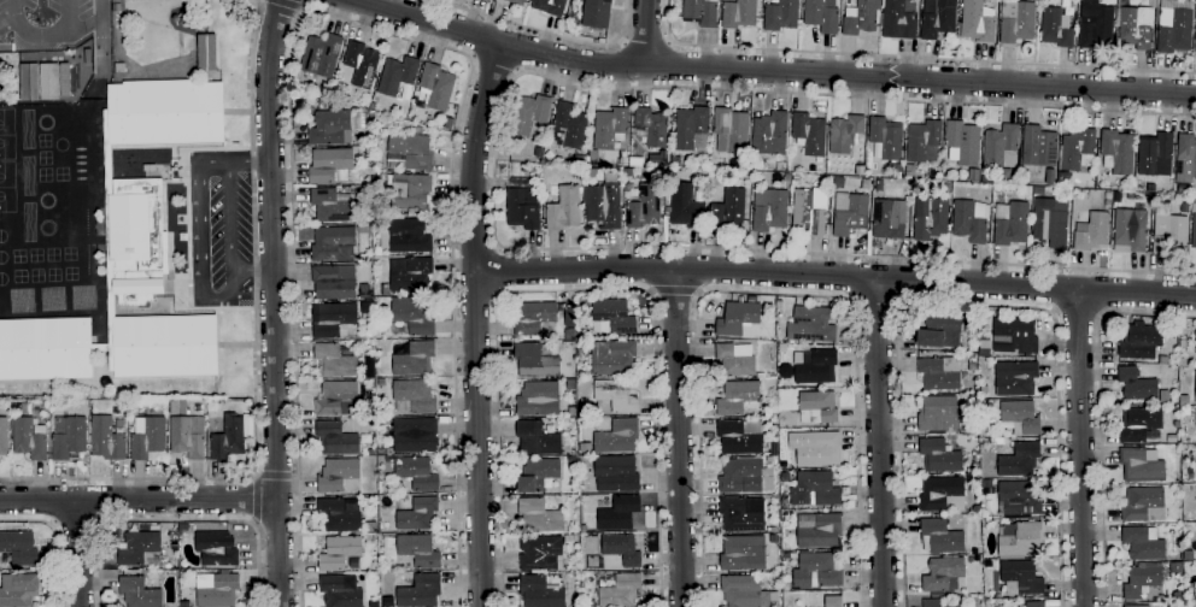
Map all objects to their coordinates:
building: (1032, 0)
building: (517, 1)
road: (304, 2)
road: (285, 4)
building: (1151, 4)
road: (304, 6)
building: (551, 6)
road: (300, 7)
building: (700, 12)
building: (597, 13)
building: (738, 14)
building: (780, 16)
building: (821, 16)
building: (862, 18)
building: (937, 18)
parking lot: (46, 19)
building: (898, 19)
building: (978, 22)
building: (1015, 22)
road: (360, 24)
building: (1095, 24)
building: (1135, 26)
building: (1174, 26)
building: (1055, 29)
road: (647, 31)
road: (545, 33)
road: (42, 36)
road: (645, 41)
building: (1195, 47)
building: (206, 53)
building: (321, 55)
road: (911, 58)
building: (360, 64)
road: (493, 65)
building: (119, 69)
road: (770, 71)
building: (398, 75)
building: (48, 81)
building: (29, 82)
building: (436, 87)
building: (530, 116)
building: (448, 123)
building: (569, 126)
building: (652, 126)
building: (690, 126)
building: (330, 128)
building: (610, 128)
building: (732, 129)
building: (770, 134)
building: (809, 134)
building: (844, 134)
park: (6, 135)
building: (886, 137)
building: (924, 142)
building: (963, 142)
building: (1001, 147)
park: (45, 148)
building: (1037, 149)
building: (1077, 151)
building: (409, 152)
building: (1116, 152)
building: (1153, 153)
building: (593, 158)
building: (1185, 159)
building: (580, 160)
building: (675, 160)
building: (741, 161)
building: (330, 166)
building: (148, 167)
road: (493, 167)
building: (820, 170)
building: (910, 170)
building: (627, 173)
building: (974, 176)
building: (1050, 177)
building: (787, 178)
building: (796, 178)
building: (1062, 178)
building: (879, 185)
park: (7, 188)
building: (1150, 188)
building: (410, 191)
building: (1118, 196)
building: (1107, 204)
building: (603, 205)
building: (641, 205)
building: (333, 206)
building: (685, 207)
building: (523, 208)
building: (564, 210)
building: (769, 211)
building: (809, 211)
building: (729, 212)
road: (228, 217)
building: (851, 217)
road: (198, 218)
building: (889, 218)
building: (969, 220)
building: (931, 222)
building: (1050, 222)
building: (1010, 223)
building: (364, 229)
building: (1130, 229)
building: (1194, 231)
building: (1091, 232)
building: (1169, 235)
building: (409, 236)
parking lot: (229, 237)
building: (334, 244)
building: (130, 254)
building: (369, 259)
road: (251, 270)
road: (498, 271)
building: (410, 275)
road: (836, 276)
building: (332, 284)
building: (382, 290)
road: (575, 290)
building: (364, 291)
road: (674, 291)
road: (772, 293)
road: (274, 302)
road: (874, 302)
road: (971, 305)
building: (367, 308)
road: (1077, 314)
building: (569, 317)
building: (738, 317)
building: (414, 318)
building: (611, 318)
building: (534, 319)
building: (333, 320)
road: (475, 324)
building: (810, 325)
building: (940, 331)
building: (569, 334)
building: (1014, 336)
building: (1195, 337)
building: (1141, 341)
building: (1182, 343)
building: (347, 350)
building: (579, 353)
building: (984, 353)
building: (612, 358)
building: (415, 359)
building: (535, 360)
building: (735, 360)
road: (256, 361)
building: (1182, 361)
building: (334, 363)
building: (972, 364)
building: (816, 367)
building: (371, 370)
building: (939, 373)
building: (760, 376)
building: (1015, 378)
building: (380, 382)
building: (570, 385)
building: (1136, 385)
building: (1195, 390)
building: (616, 395)
building: (414, 396)
building: (538, 399)
building: (738, 399)
building: (338, 400)
building: (817, 407)
building: (24, 408)
building: (178, 408)
building: (135, 409)
building: (157, 412)
building: (938, 414)
road: (1100, 414)
building: (1195, 416)
building: (1020, 417)
building: (582, 419)
building: (1139, 424)
building: (975, 431)
building: (981, 431)
building: (4, 436)
building: (188, 436)
building: (415, 436)
road: (678, 436)
building: (617, 437)
building: (29, 438)
building: (68, 438)
building: (230, 438)
building: (336, 438)
building: (538, 438)
building: (738, 438)
building: (106, 440)
building: (148, 440)
road: (878, 442)
road: (1080, 447)
building: (815, 448)
building: (382, 452)
building: (939, 456)
building: (1019, 460)
building: (1141, 466)
building: (975, 468)
road: (253, 473)
building: (416, 473)
road: (294, 475)
building: (336, 475)
building: (538, 475)
building: (616, 475)
road: (272, 476)
building: (740, 476)
building: (785, 477)
building: (972, 478)
building: (986, 483)
building: (768, 484)
building: (814, 490)
building: (1179, 490)
building: (942, 494)
building: (1195, 494)
road: (256, 497)
building: (1019, 499)
road: (139, 500)
building: (1143, 505)
building: (416, 514)
building: (618, 514)
building: (539, 515)
building: (338, 517)
building: (739, 517)
road: (253, 520)
road: (178, 521)
road: (77, 523)
building: (370, 528)
building: (183, 529)
building: (575, 529)
building: (770, 530)
building: (817, 530)
road: (55, 537)
building: (939, 537)
building: (385, 538)
building: (573, 538)
building: (1020, 540)
building: (369, 541)
building: (1143, 543)
building: (19, 548)
building: (140, 549)
building: (216, 549)
building: (622, 549)
building: (418, 550)
building: (740, 552)
road: (82, 553)
building: (339, 553)
building: (540, 553)
building: (1188, 555)
building: (786, 556)
building: (816, 571)
building: (943, 576)
building: (1019, 578)
building: (1141, 581)
building: (18, 590)
building: (541, 590)
building: (741, 590)
building: (796, 590)
building: (218, 591)
building: (340, 591)
building: (420, 591)
building: (621, 591)
building: (137, 593)
building: (833, 601)
building: (575, 602)
building: (937, 603)
building: (587, 605)
building: (1034, 605)
building: (1192, 605)
building: (1136, 606)

